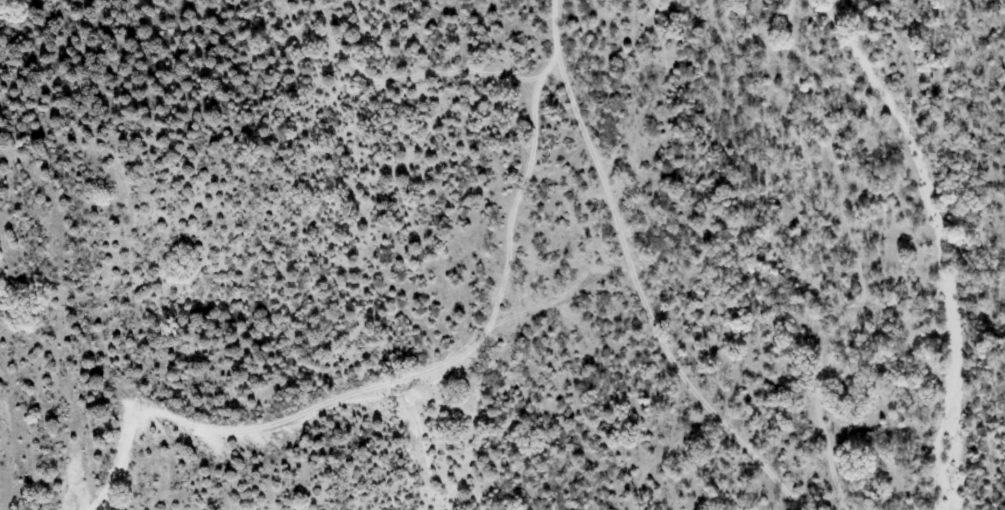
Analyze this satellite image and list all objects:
road: (622, 278)
road: (413, 380)

